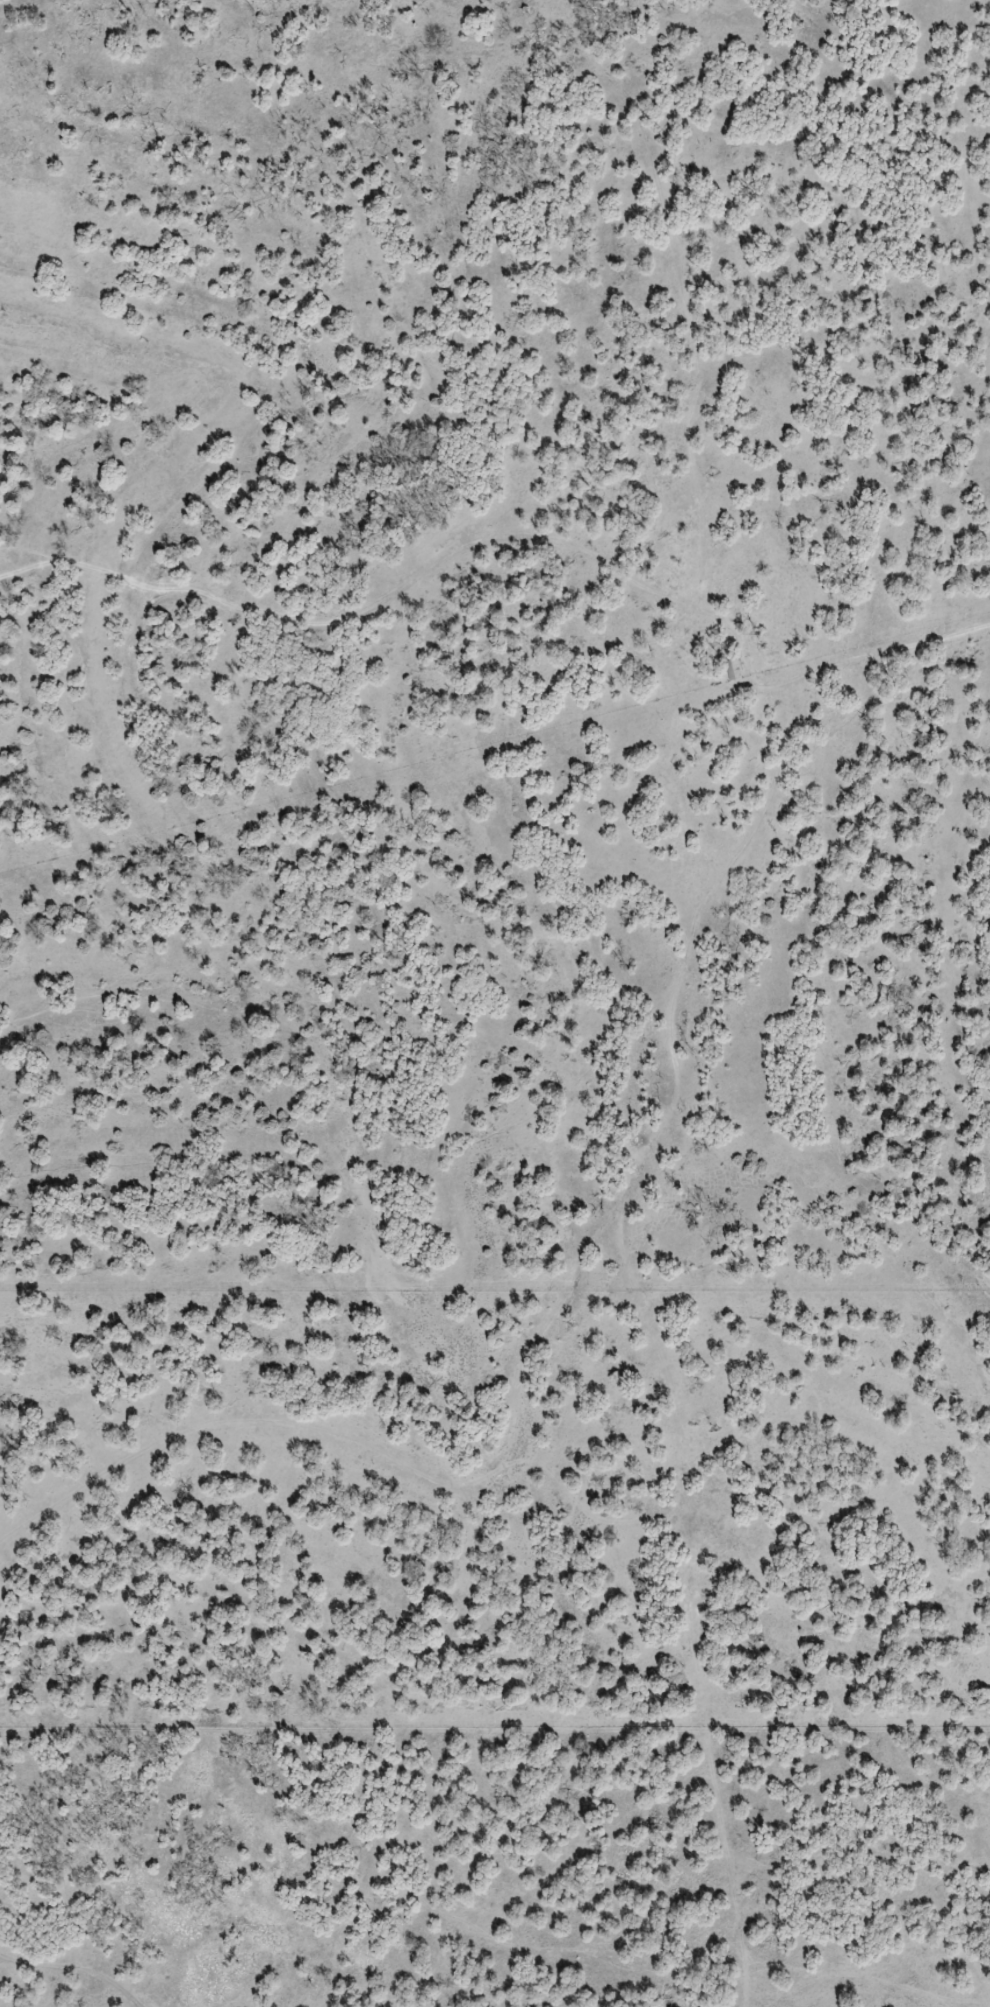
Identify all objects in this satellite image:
building: (730, 669)

